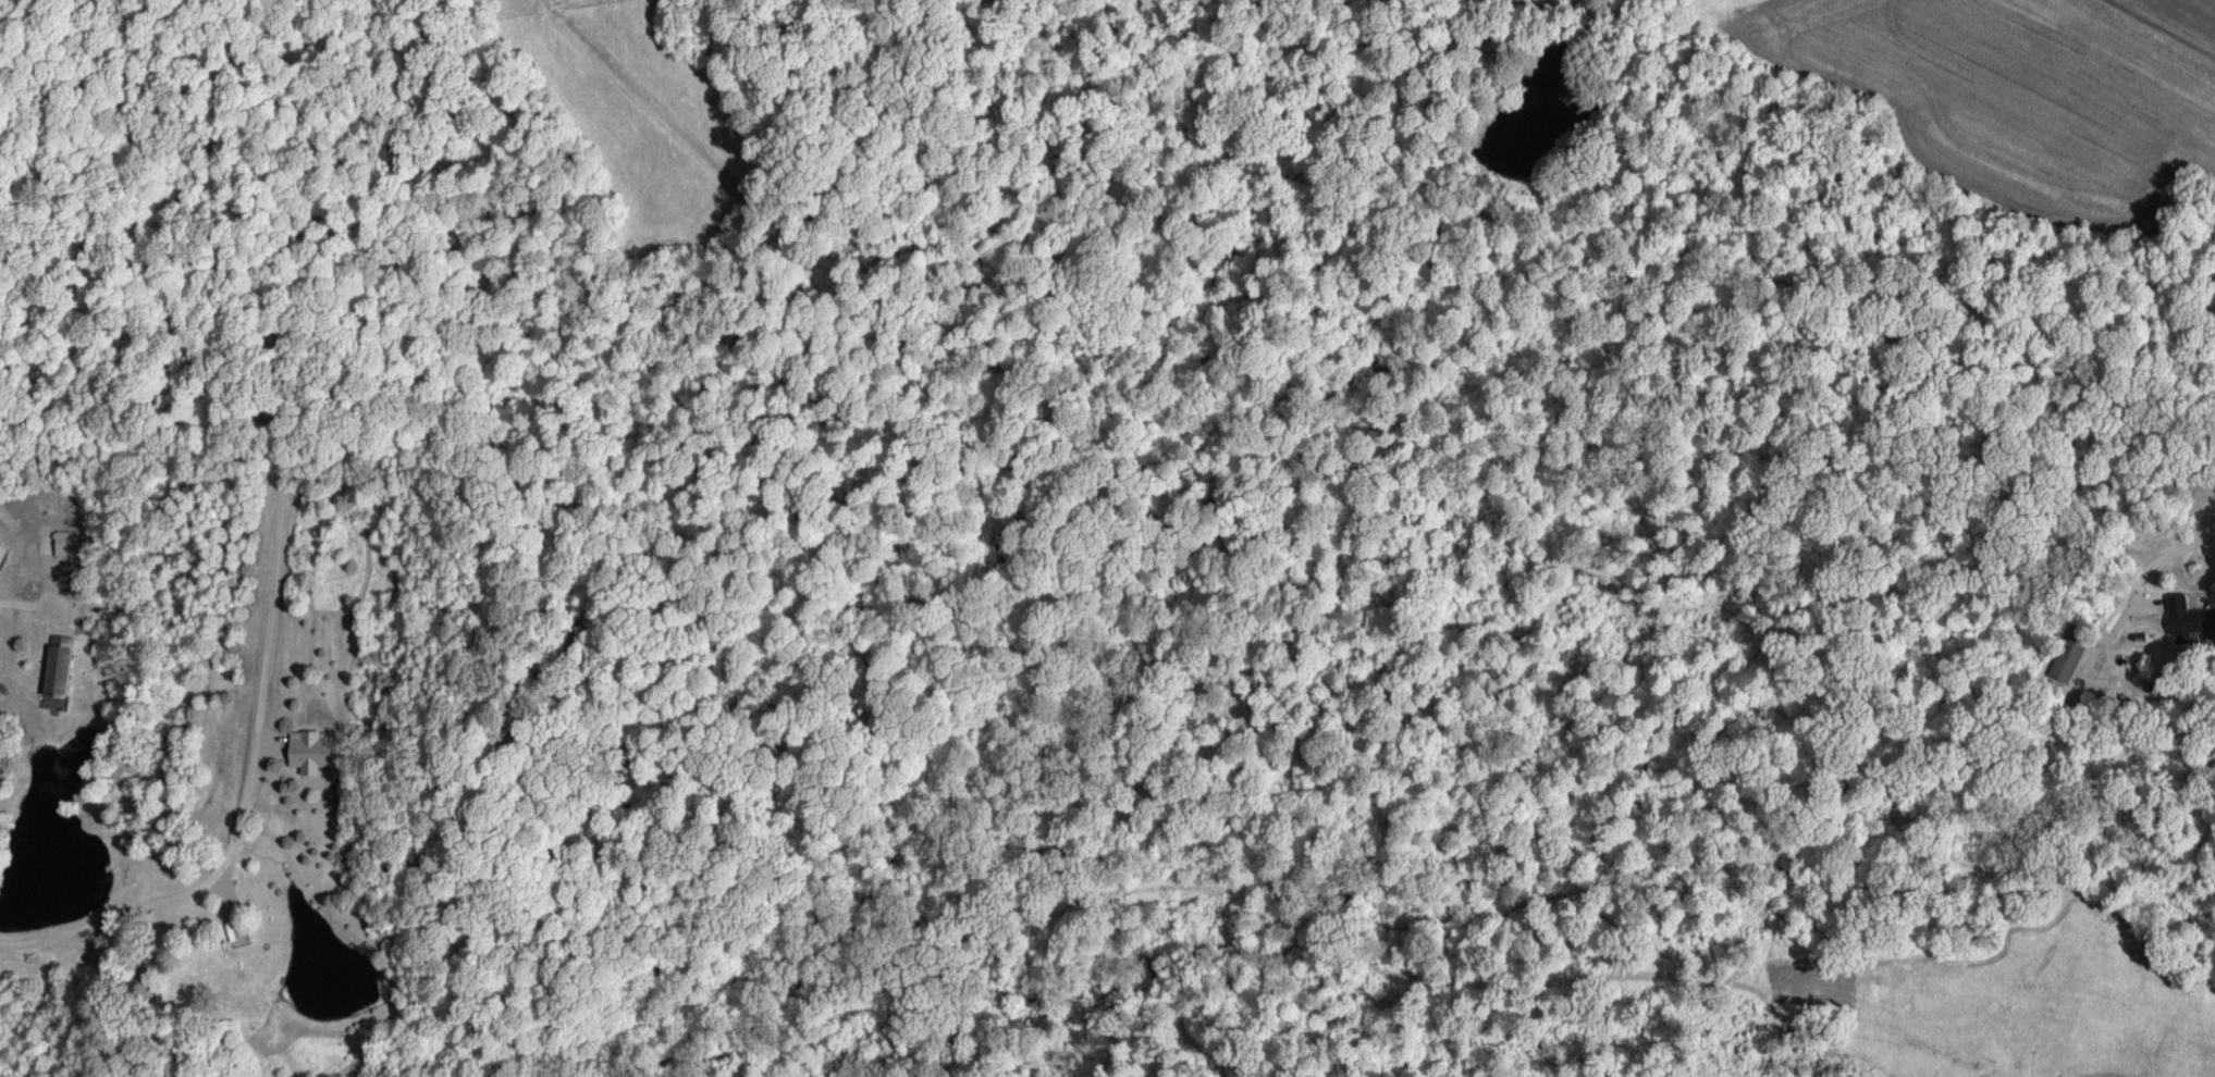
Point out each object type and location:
road: (2167, 26)
building: (67, 542)
road: (275, 553)
road: (2166, 554)
road: (22, 603)
building: (2188, 615)
building: (2068, 658)
building: (58, 669)
building: (312, 748)
building: (121, 780)

